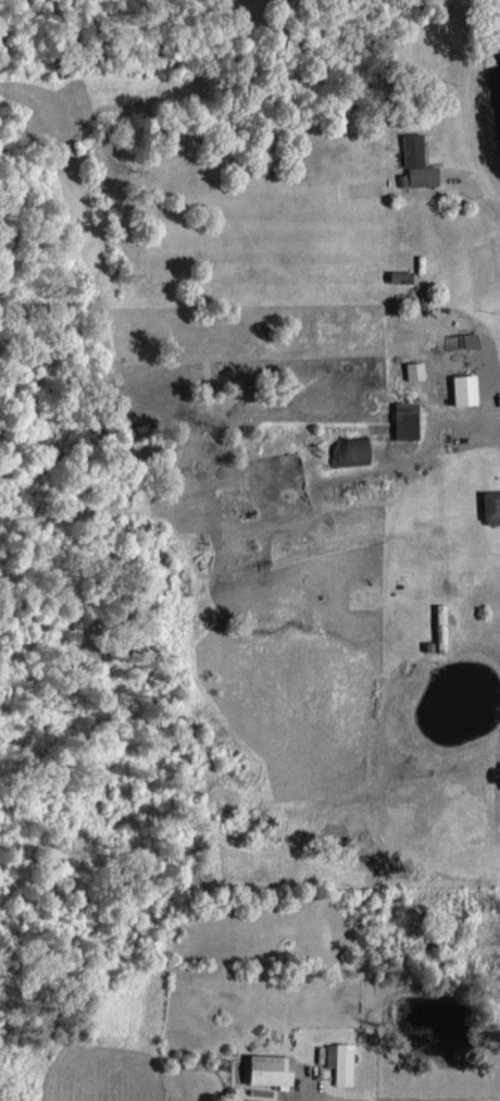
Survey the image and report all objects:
road: (492, 53)
building: (413, 161)
building: (397, 274)
building: (458, 337)
building: (410, 368)
building: (459, 387)
building: (401, 418)
building: (347, 448)
building: (489, 505)
building: (336, 1060)
building: (262, 1067)

